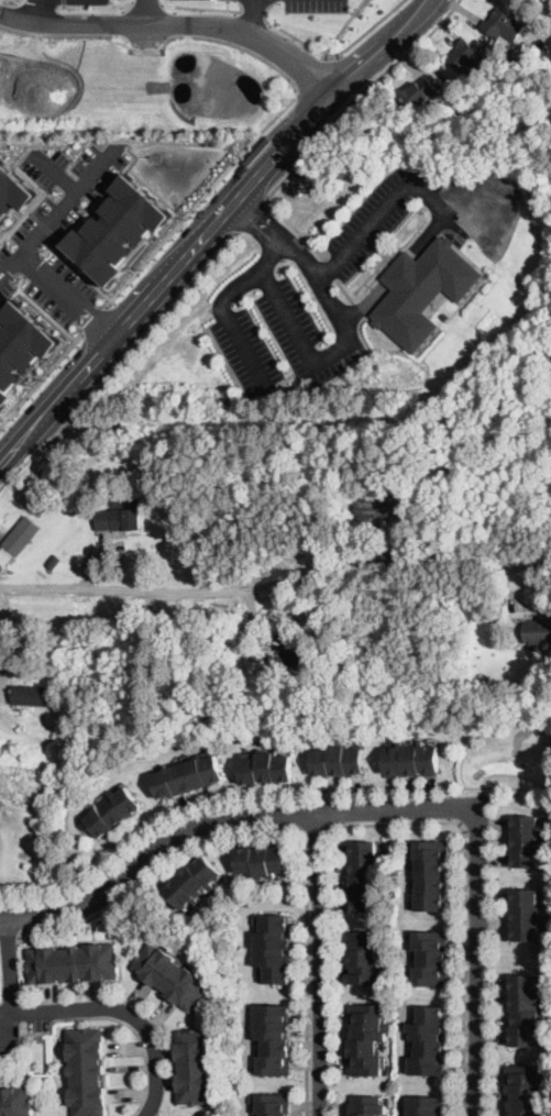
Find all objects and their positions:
parking lot: (258, 0)
parking lot: (316, 5)
road: (228, 7)
road: (198, 11)
road: (42, 12)
road: (147, 12)
road: (253, 16)
road: (253, 19)
road: (176, 25)
building: (503, 25)
road: (366, 29)
road: (63, 34)
road: (143, 36)
road: (298, 41)
building: (466, 60)
road: (312, 73)
building: (515, 82)
road: (356, 93)
building: (419, 93)
building: (475, 114)
road: (252, 142)
road: (54, 172)
building: (13, 190)
parking lot: (484, 207)
road: (56, 210)
road: (376, 211)
road: (250, 213)
parking lot: (377, 216)
road: (504, 217)
road: (294, 224)
parking lot: (57, 226)
road: (210, 226)
building: (115, 228)
road: (427, 233)
road: (77, 268)
road: (398, 269)
road: (315, 272)
building: (425, 292)
road: (67, 295)
road: (220, 307)
road: (41, 308)
building: (445, 316)
road: (93, 319)
road: (145, 333)
parking lot: (306, 335)
road: (188, 338)
building: (19, 344)
road: (304, 350)
parking lot: (245, 351)
parking lot: (186, 362)
road: (42, 380)
building: (374, 507)
building: (119, 520)
building: (19, 540)
building: (64, 553)
building: (53, 562)
road: (276, 583)
building: (538, 633)
building: (287, 656)
building: (536, 684)
building: (31, 696)
building: (338, 761)
building: (411, 761)
building: (266, 769)
building: (188, 777)
building: (113, 813)
road: (225, 817)
road: (285, 825)
road: (315, 828)
building: (527, 841)
building: (262, 861)
building: (431, 874)
building: (364, 876)
building: (71, 883)
building: (192, 883)
road: (461, 903)
building: (527, 915)
road: (9, 933)
building: (275, 947)
building: (365, 958)
building: (430, 959)
road: (477, 960)
road: (9, 963)
road: (319, 963)
building: (73, 964)
building: (170, 974)
building: (527, 1009)
road: (119, 1010)
road: (104, 1014)
building: (273, 1038)
building: (367, 1038)
building: (428, 1041)
building: (195, 1067)
building: (87, 1071)
building: (526, 1090)
building: (15, 1102)
building: (274, 1104)
building: (368, 1105)
building: (426, 1105)

